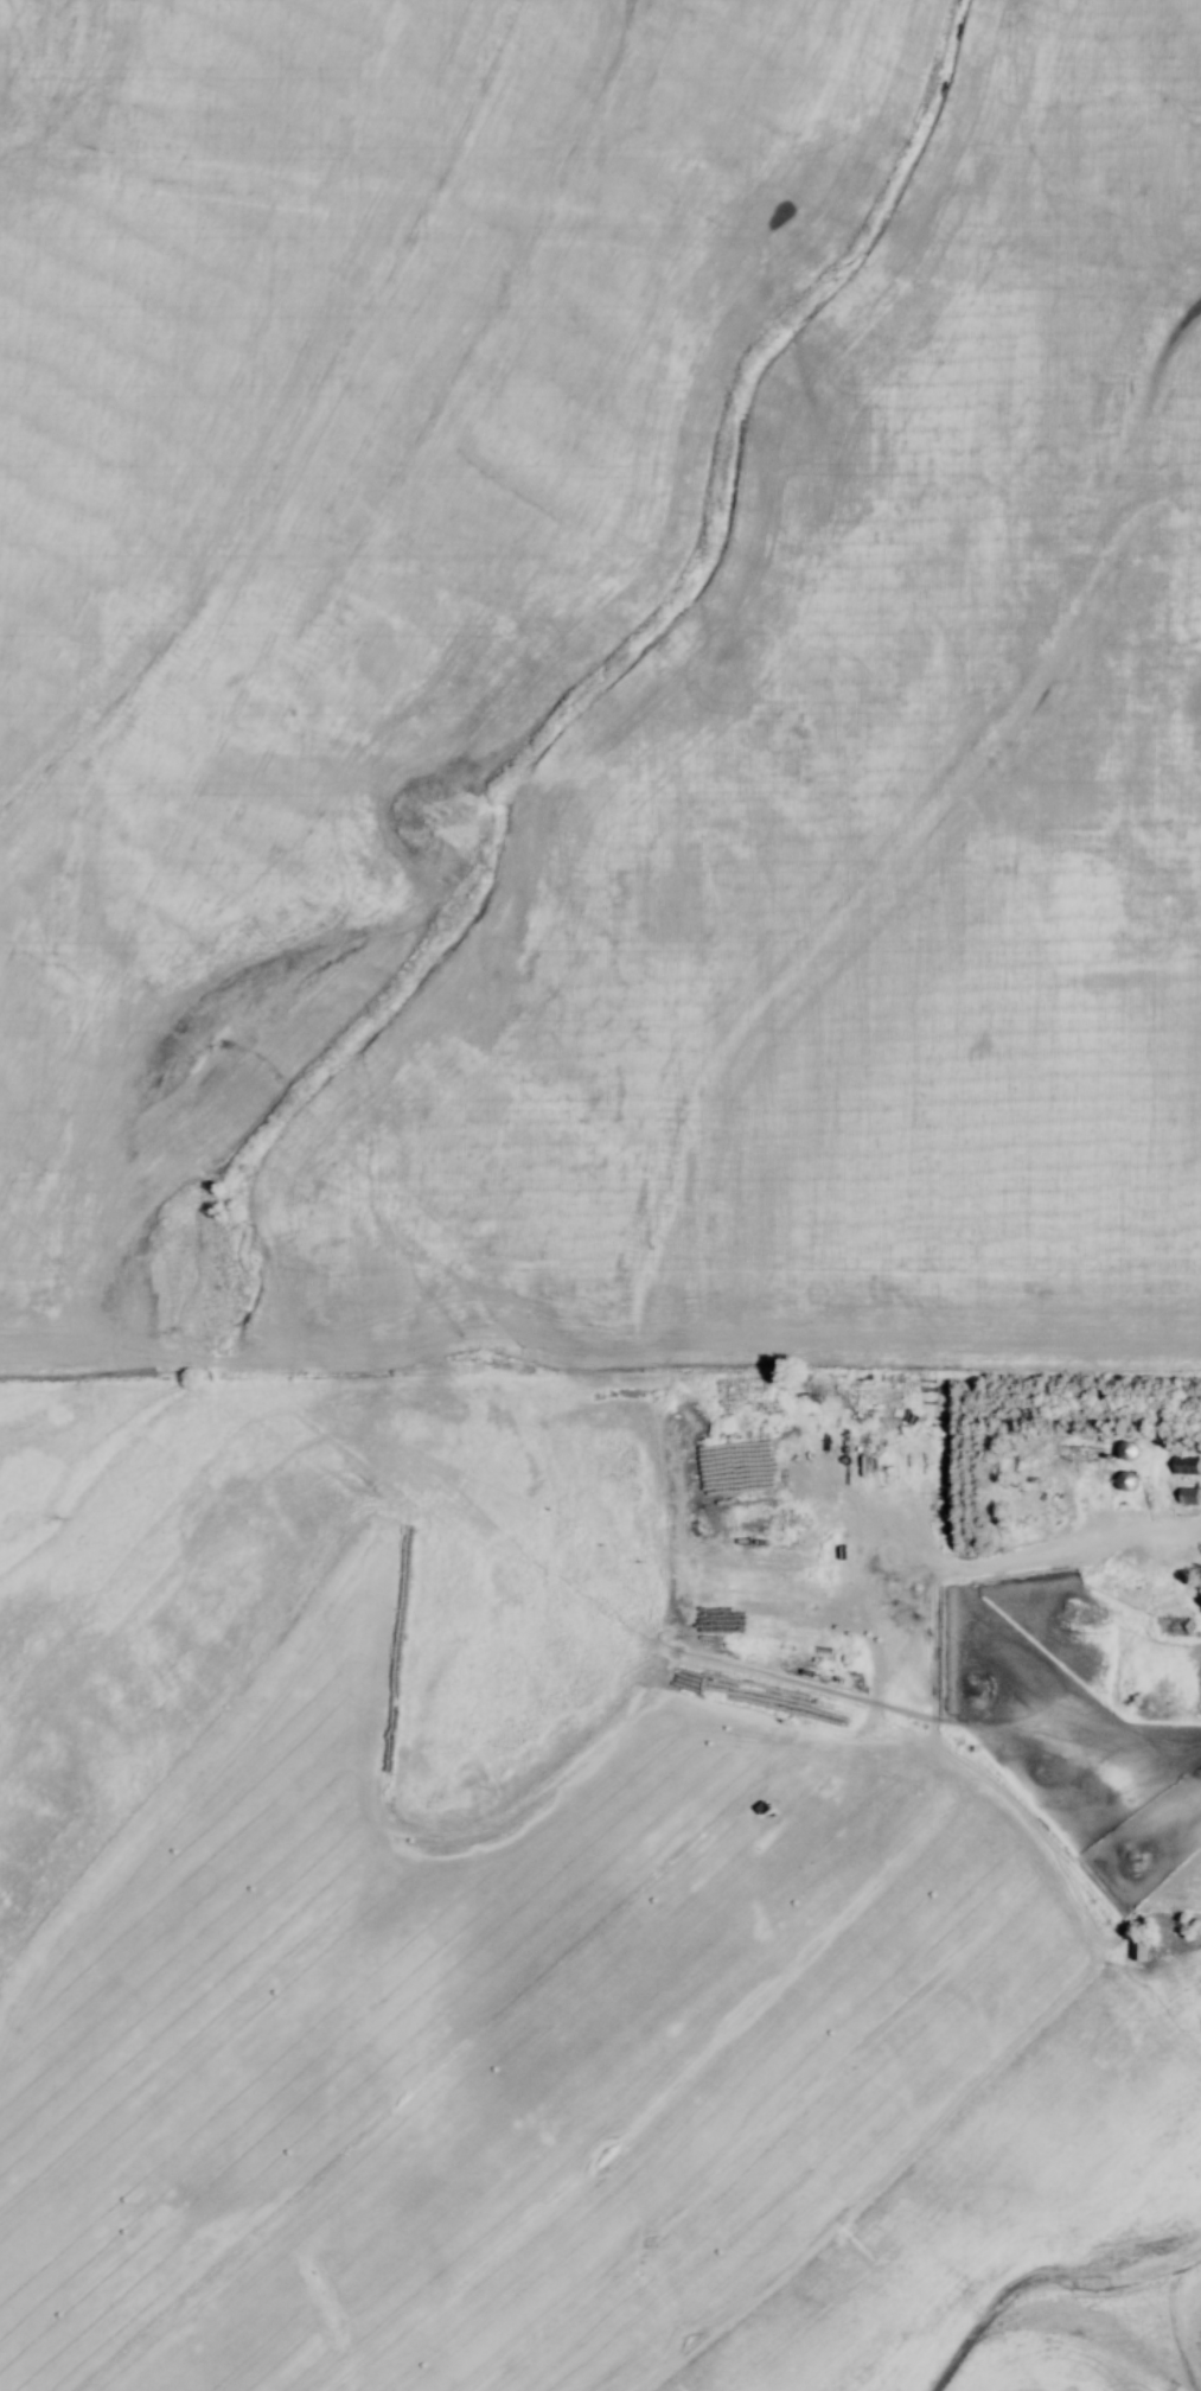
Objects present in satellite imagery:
building: (1126, 1450)
building: (1184, 1465)
building: (1124, 1483)
building: (1187, 1496)
building: (1174, 1627)
building: (1138, 1947)

